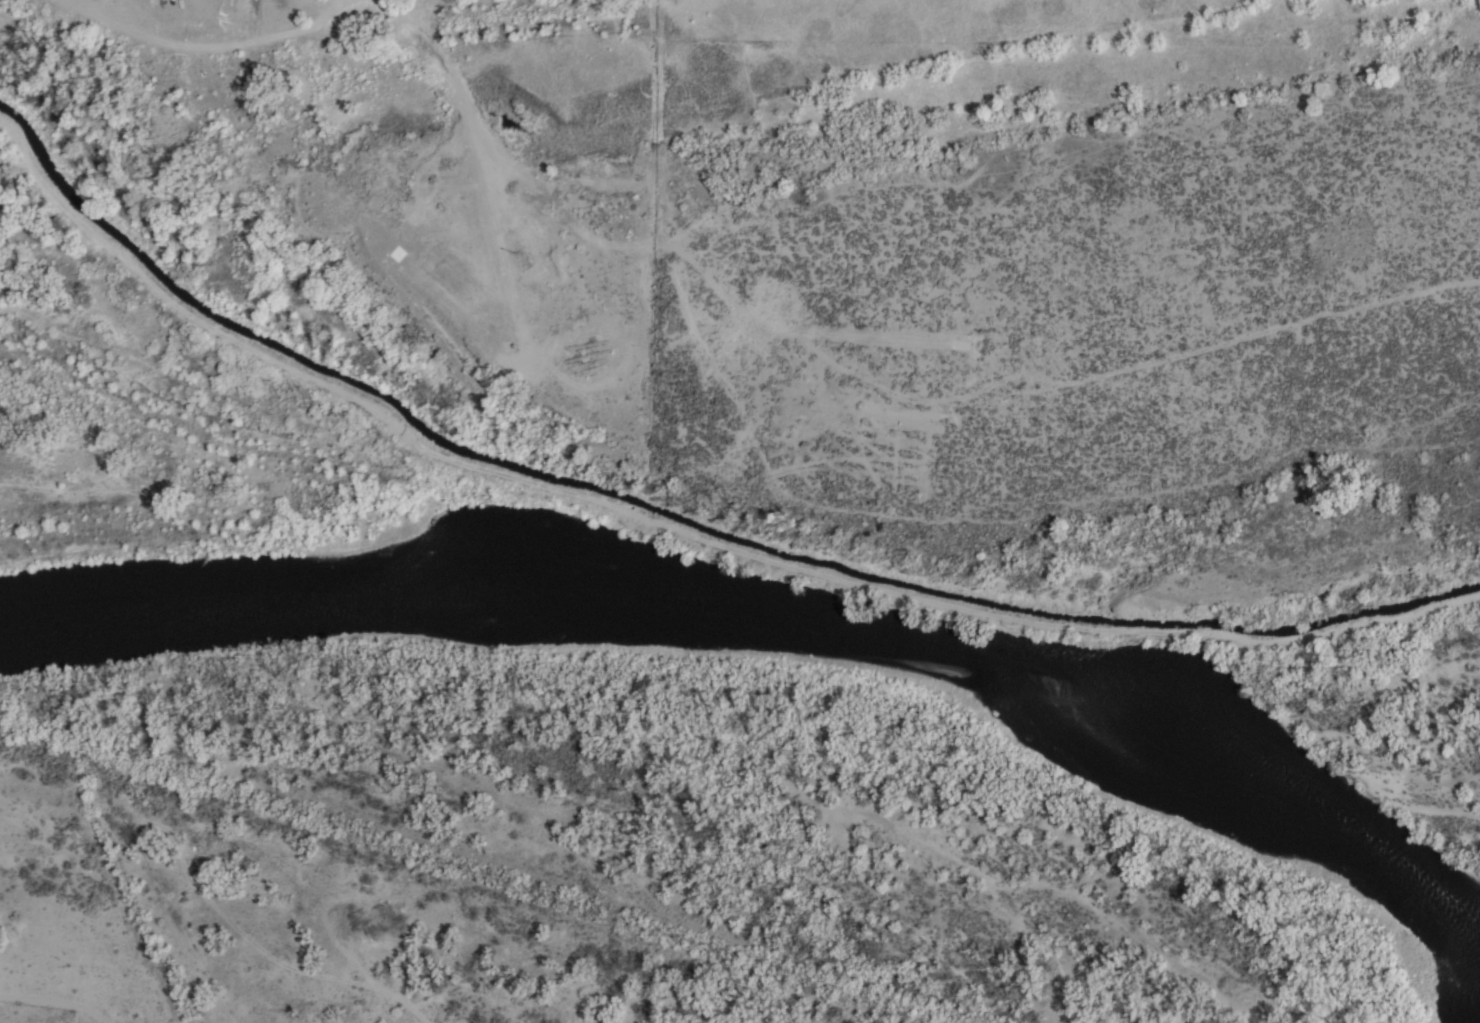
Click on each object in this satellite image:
road: (702, 350)
river: (787, 616)

